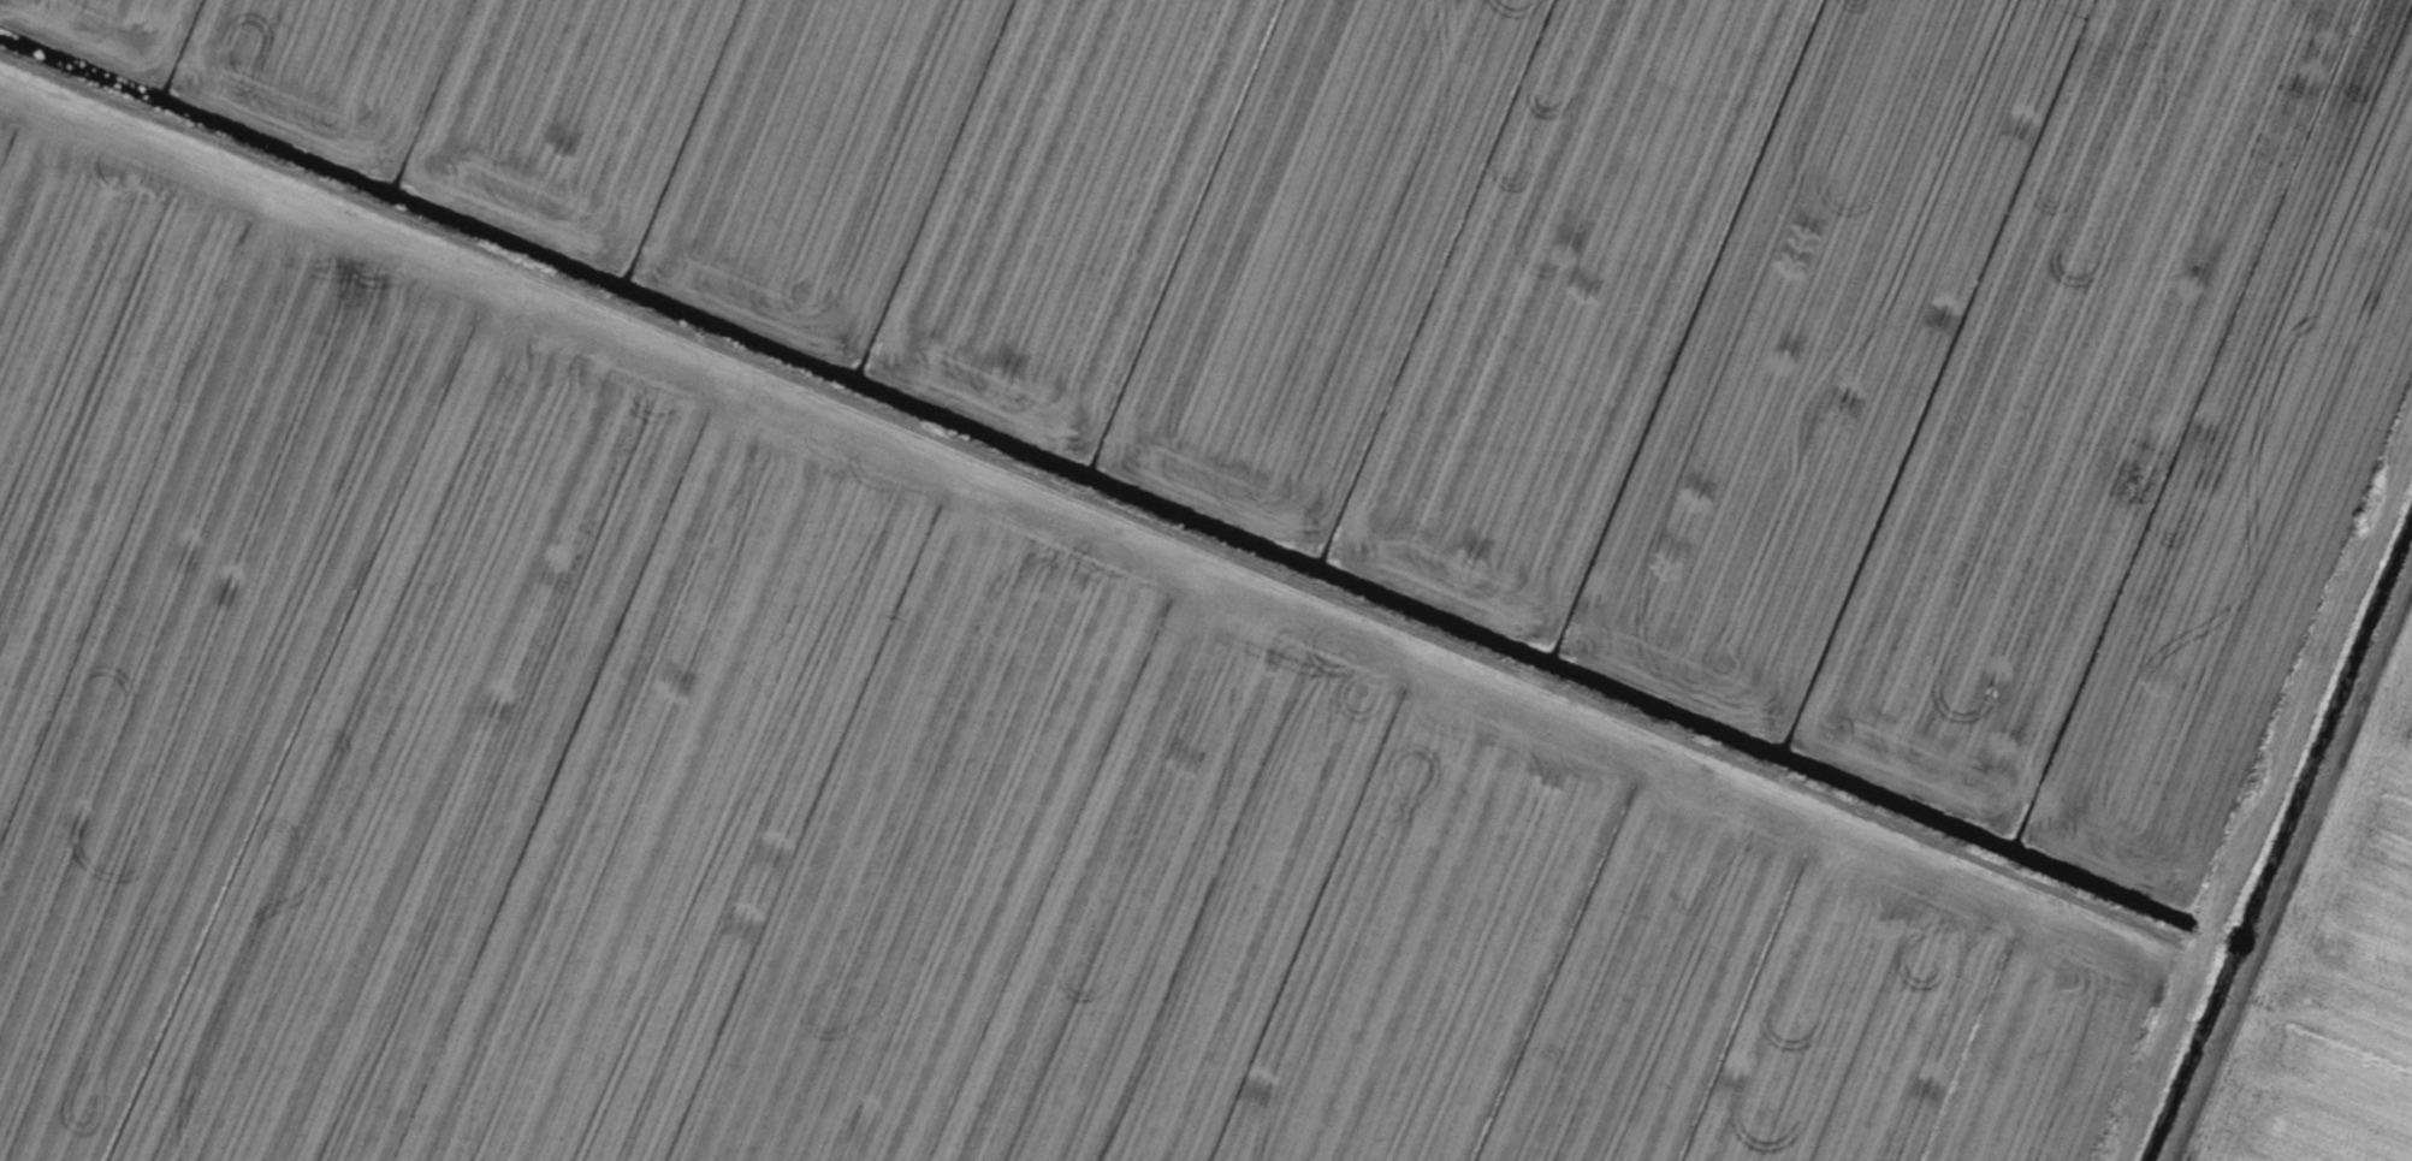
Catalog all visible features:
road: (1088, 503)
crop: (1205, 580)
road: (2253, 788)

